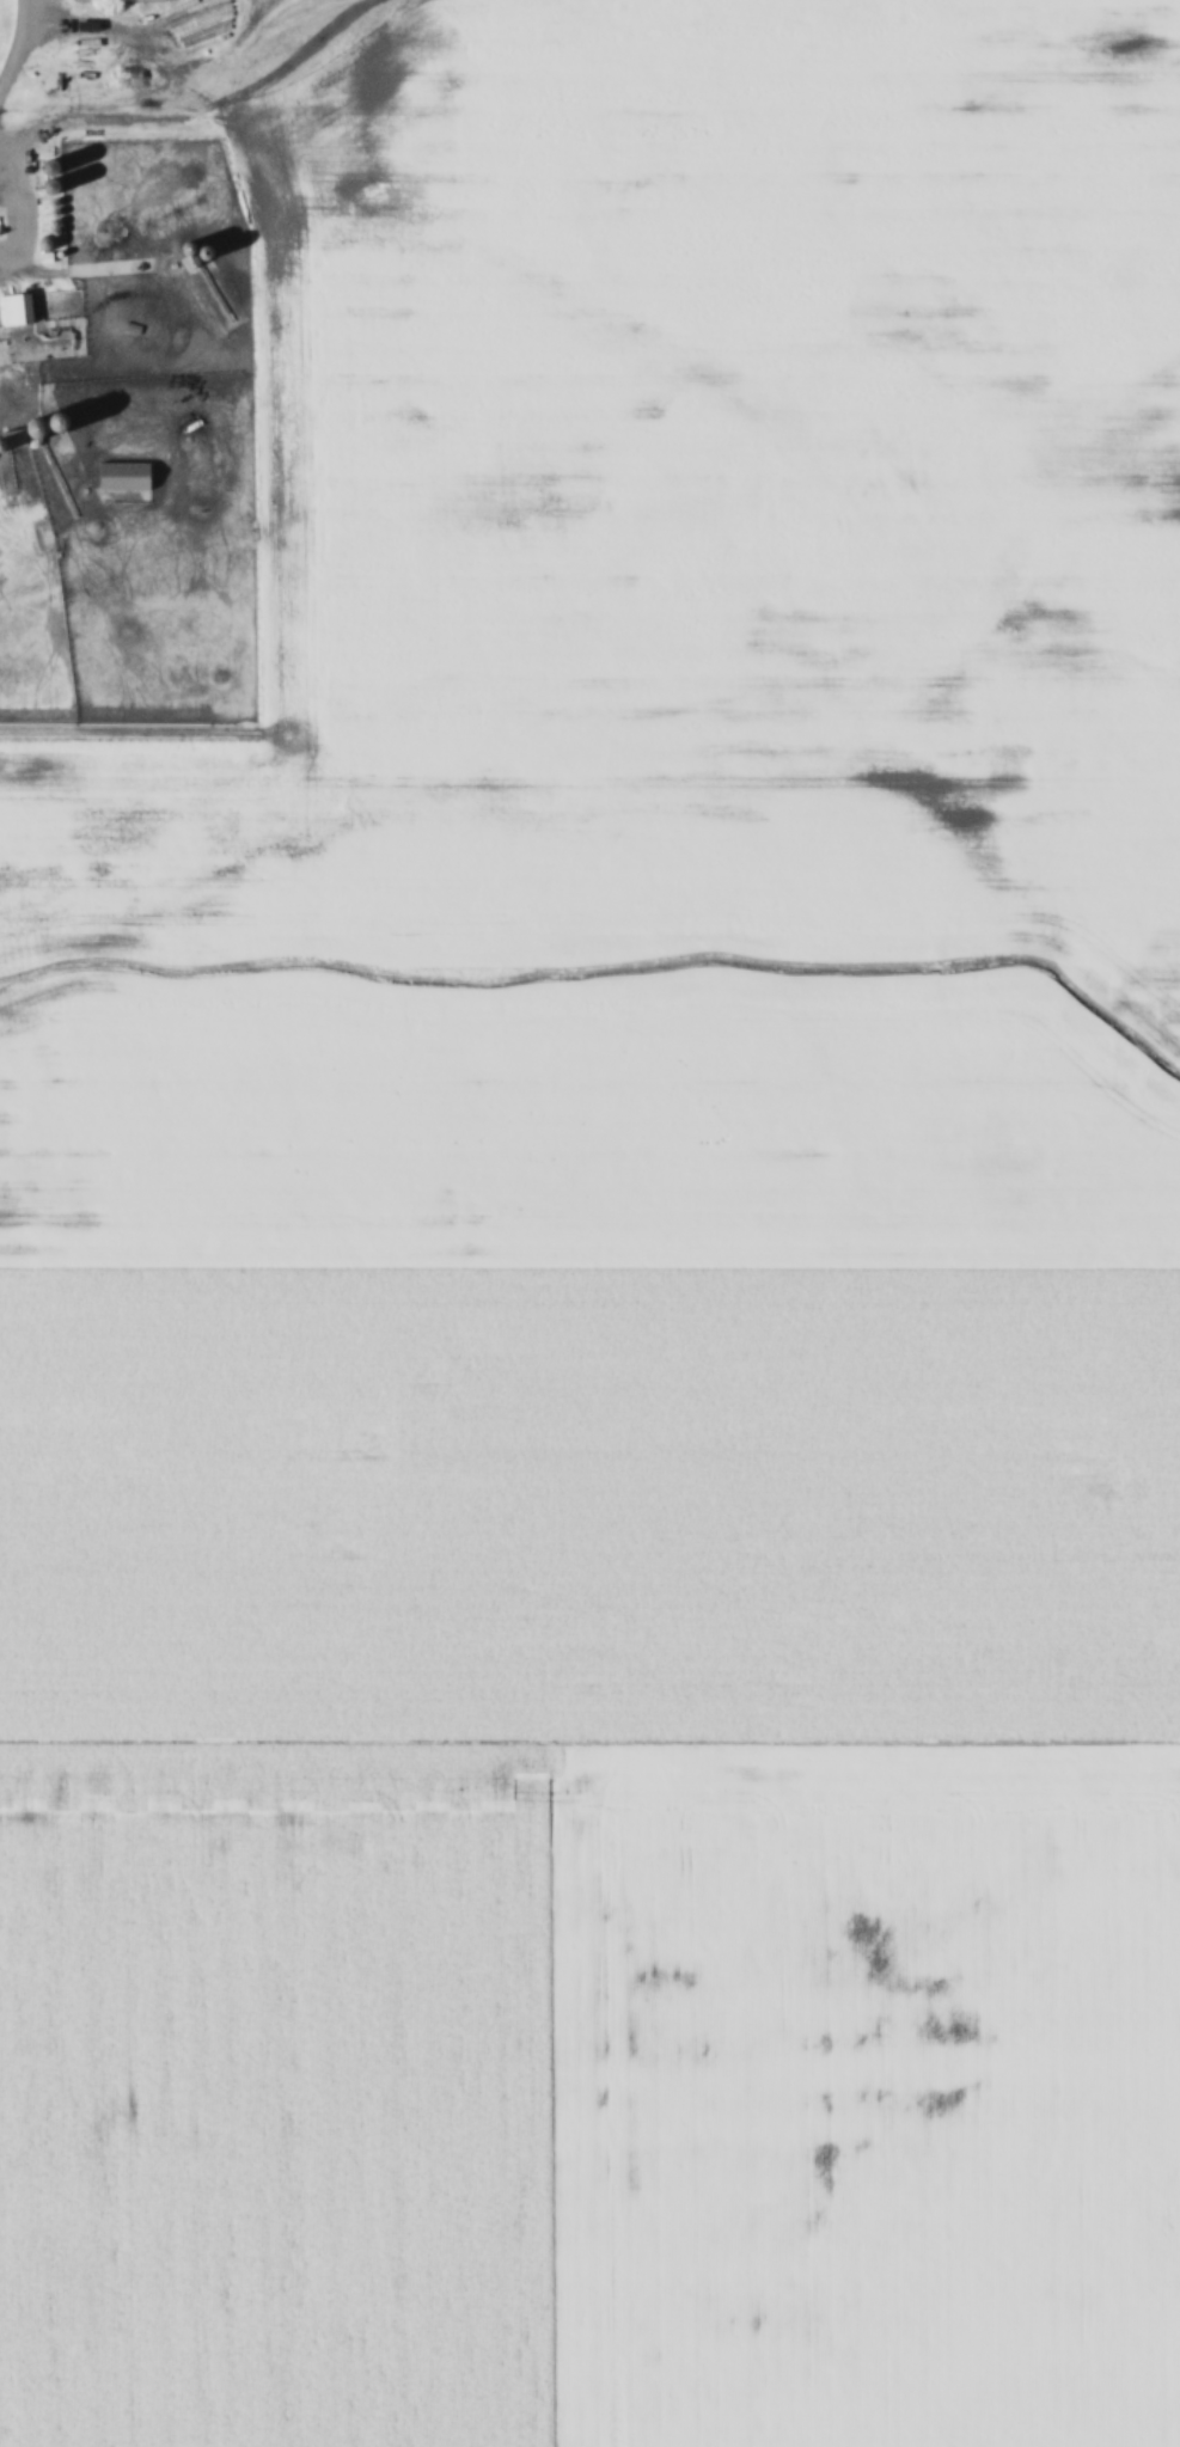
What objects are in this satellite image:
building: (121, 1)
road: (17, 44)
building: (17, 311)
building: (32, 432)
building: (123, 477)

